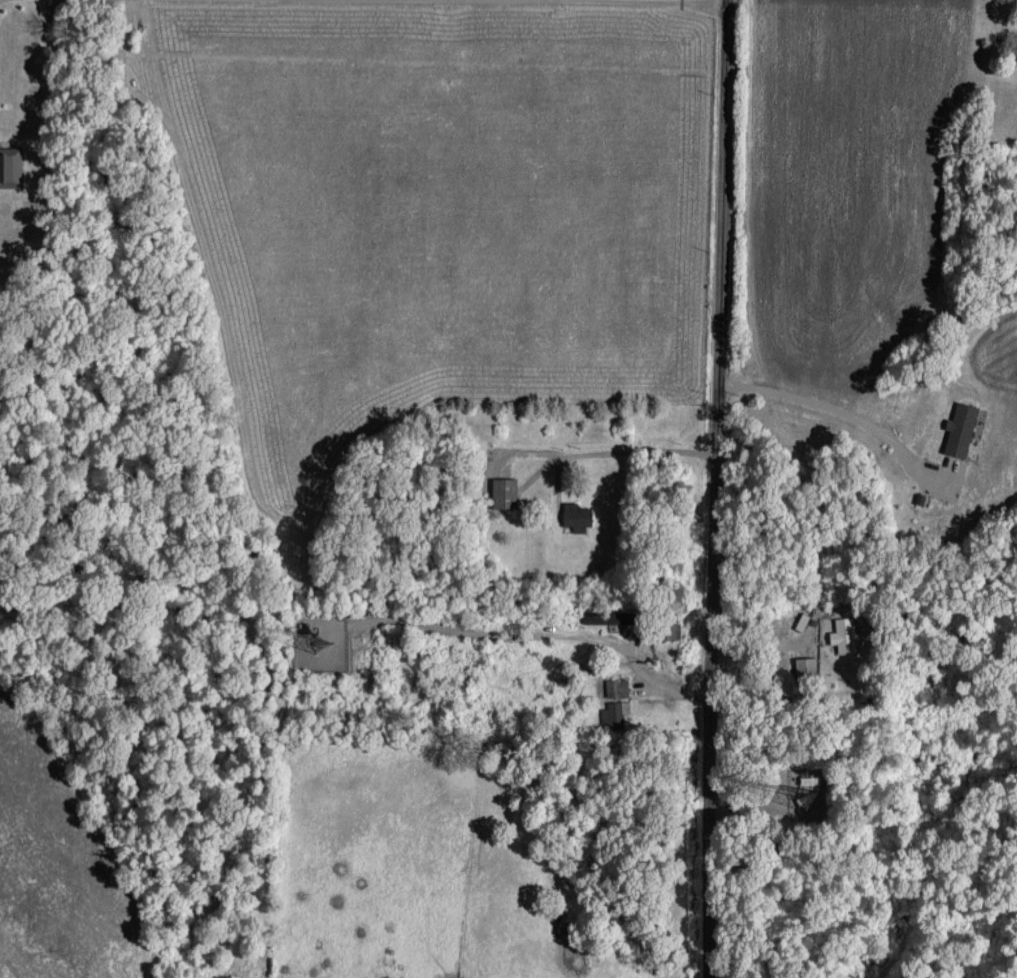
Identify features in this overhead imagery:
road: (670, 0)
building: (1014, 52)
building: (10, 166)
road: (845, 412)
building: (960, 429)
road: (625, 449)
road: (715, 488)
building: (503, 492)
building: (576, 516)
building: (604, 617)
building: (843, 635)
building: (805, 666)
building: (616, 687)
building: (614, 713)

